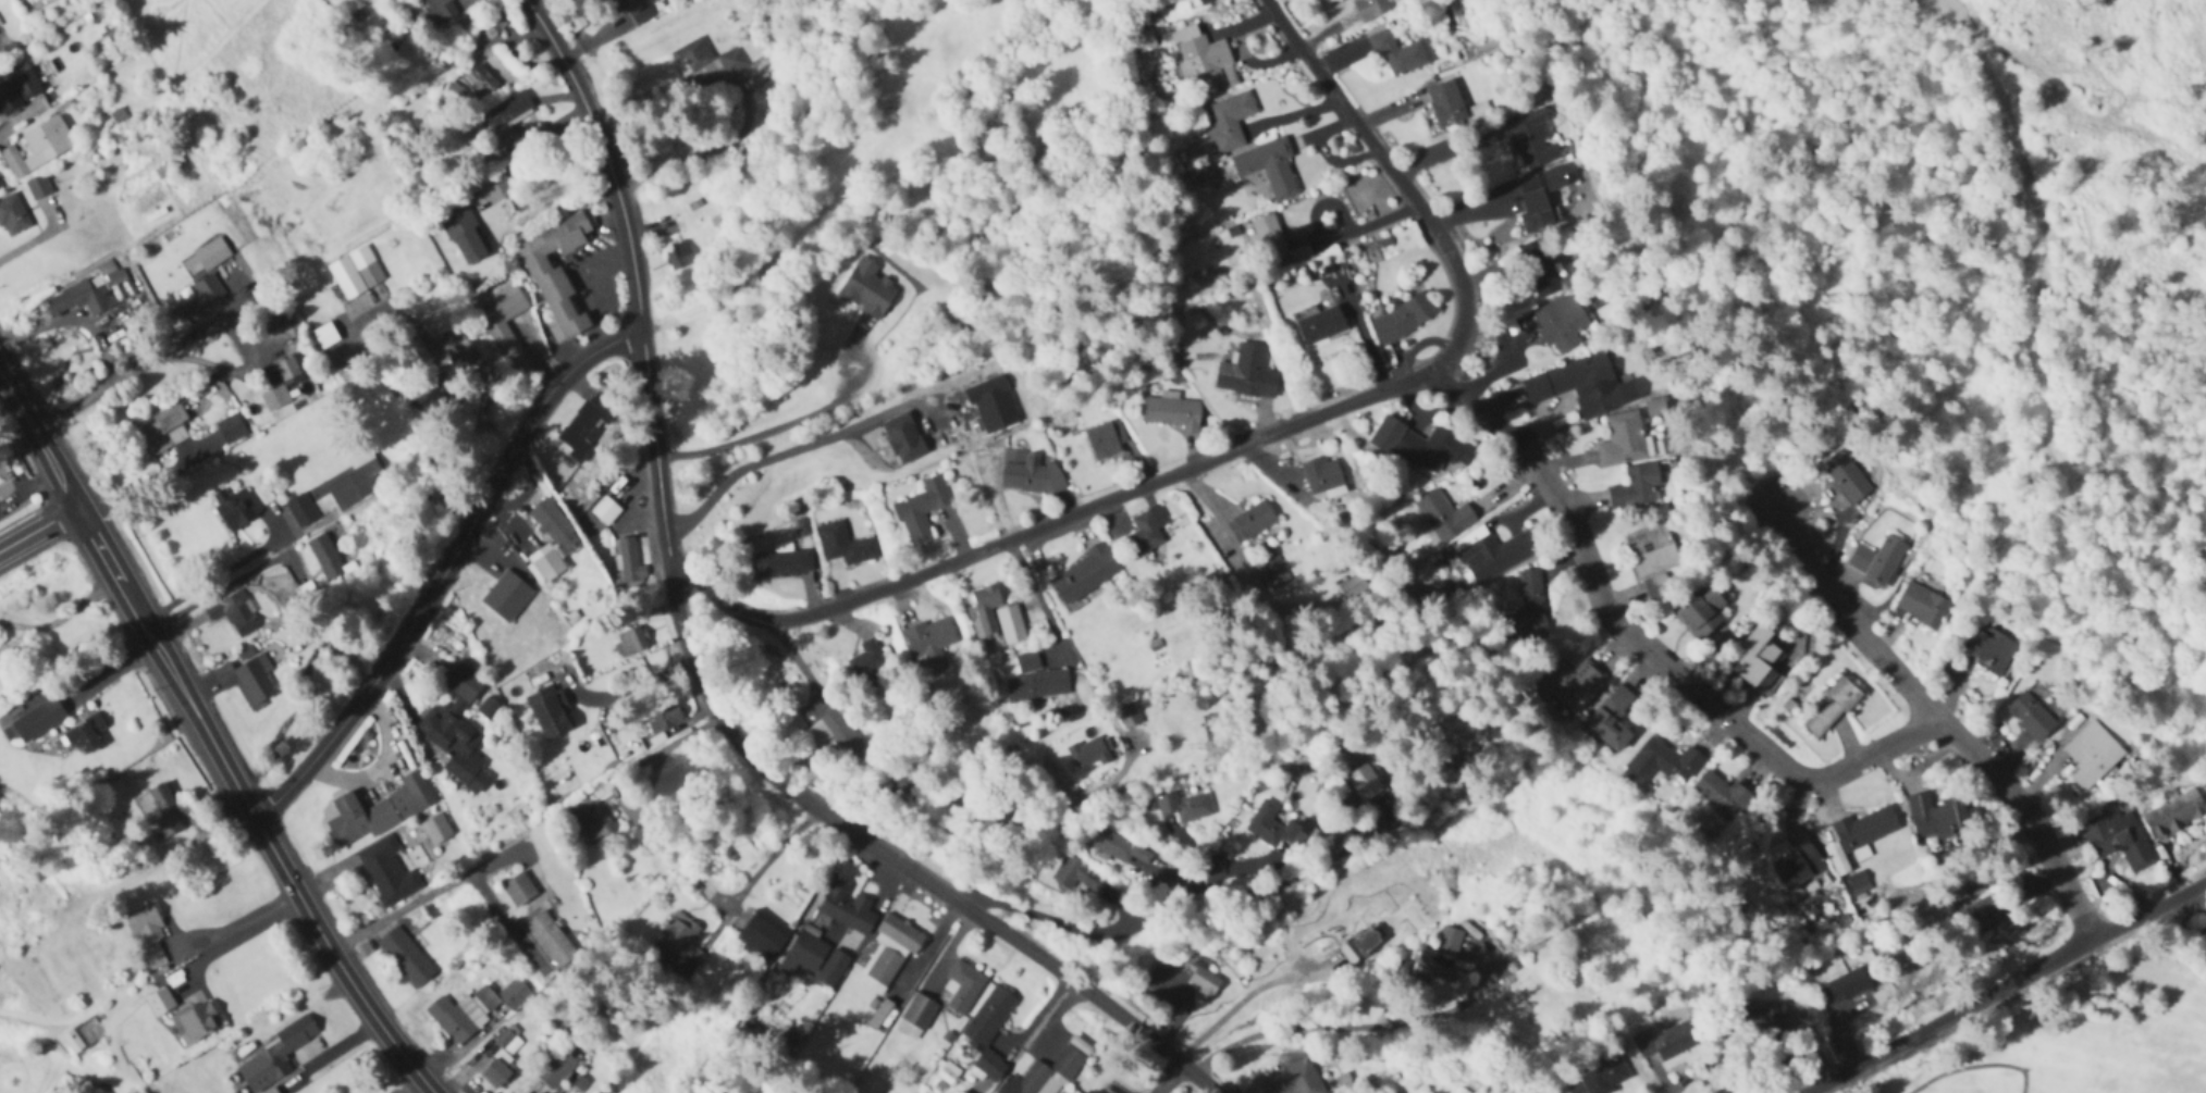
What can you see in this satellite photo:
building: (1206, 0)
building: (1371, 8)
building: (439, 11)
building: (634, 12)
building: (1397, 53)
building: (1200, 55)
building: (692, 58)
building: (731, 61)
building: (478, 82)
building: (19, 91)
building: (1446, 103)
road: (742, 104)
building: (506, 111)
road: (17, 115)
building: (1229, 121)
building: (1530, 137)
building: (39, 147)
building: (1269, 166)
building: (1555, 177)
road: (1402, 182)
building: (40, 184)
building: (1535, 203)
road: (496, 204)
building: (12, 215)
building: (463, 233)
road: (36, 237)
building: (1269, 237)
building: (211, 253)
building: (678, 256)
building: (1540, 268)
building: (355, 272)
building: (556, 274)
building: (867, 289)
building: (79, 296)
building: (201, 299)
building: (1403, 319)
building: (1561, 323)
building: (503, 325)
building: (1321, 325)
road: (231, 326)
road: (101, 344)
building: (456, 344)
road: (533, 359)
building: (1246, 374)
building: (281, 382)
building: (1579, 386)
building: (1655, 408)
building: (1172, 414)
road: (781, 424)
building: (588, 426)
building: (163, 431)
road: (40, 436)
building: (903, 439)
building: (1623, 440)
building: (1105, 442)
building: (1422, 447)
road: (784, 451)
building: (1028, 472)
building: (1322, 475)
building: (367, 477)
building: (1848, 480)
building: (1637, 487)
building: (576, 499)
building: (235, 507)
building: (923, 509)
building: (303, 511)
building: (1444, 517)
road: (1049, 522)
building: (1250, 522)
building: (555, 526)
building: (1147, 530)
road: (40, 531)
building: (845, 545)
building: (1652, 549)
building: (1494, 554)
building: (328, 558)
building: (1878, 559)
building: (782, 564)
building: (629, 566)
building: (547, 567)
road: (451, 570)
building: (1273, 572)
building: (1084, 574)
road: (207, 583)
building: (1657, 586)
building: (1354, 588)
building: (510, 593)
road: (1037, 599)
building: (1922, 605)
building: (1528, 611)
building: (234, 612)
building: (1702, 612)
road: (61, 616)
building: (997, 617)
road: (1841, 619)
building: (631, 642)
building: (931, 642)
road: (1635, 642)
building: (1991, 649)
building: (1760, 659)
road: (791, 662)
building: (866, 662)
road: (690, 666)
building: (247, 676)
building: (1036, 681)
building: (1574, 686)
road: (623, 687)
building: (1833, 707)
building: (550, 712)
building: (2032, 717)
building: (1129, 718)
building: (1613, 719)
building: (35, 720)
building: (457, 730)
building: (86, 734)
building: (835, 734)
building: (1089, 755)
building: (2093, 758)
building: (1664, 761)
road: (624, 771)
building: (1366, 784)
building: (1724, 795)
road: (247, 806)
building: (1185, 807)
building: (164, 810)
building: (377, 812)
building: (2176, 813)
building: (1939, 817)
road: (2024, 817)
building: (593, 822)
building: (1277, 825)
building: (1868, 828)
building: (435, 830)
building: (2119, 839)
building: (1132, 856)
road: (761, 859)
building: (1838, 859)
building: (1799, 866)
building: (386, 872)
building: (1073, 874)
road: (456, 879)
building: (1860, 882)
building: (518, 891)
building: (35, 894)
building: (1987, 902)
building: (847, 907)
building: (146, 931)
road: (1099, 931)
road: (232, 933)
building: (900, 934)
building: (762, 937)
building: (552, 941)
building: (681, 945)
building: (1360, 945)
building: (803, 954)
building: (406, 957)
building: (1441, 957)
building: (882, 971)
building: (1200, 976)
building: (1849, 986)
road: (2007, 988)
building: (961, 989)
building: (503, 995)
road: (1241, 999)
building: (160, 1002)
building: (879, 1015)
building: (456, 1018)
building: (915, 1018)
building: (196, 1022)
road: (1339, 1024)
building: (989, 1030)
building: (1680, 1038)
park: (2082, 1039)
building: (275, 1055)
building: (502, 1059)
building: (556, 1069)
building: (1050, 1070)
building: (1605, 1076)
building: (1296, 1079)
building: (1111, 1089)
building: (271, 1091)

